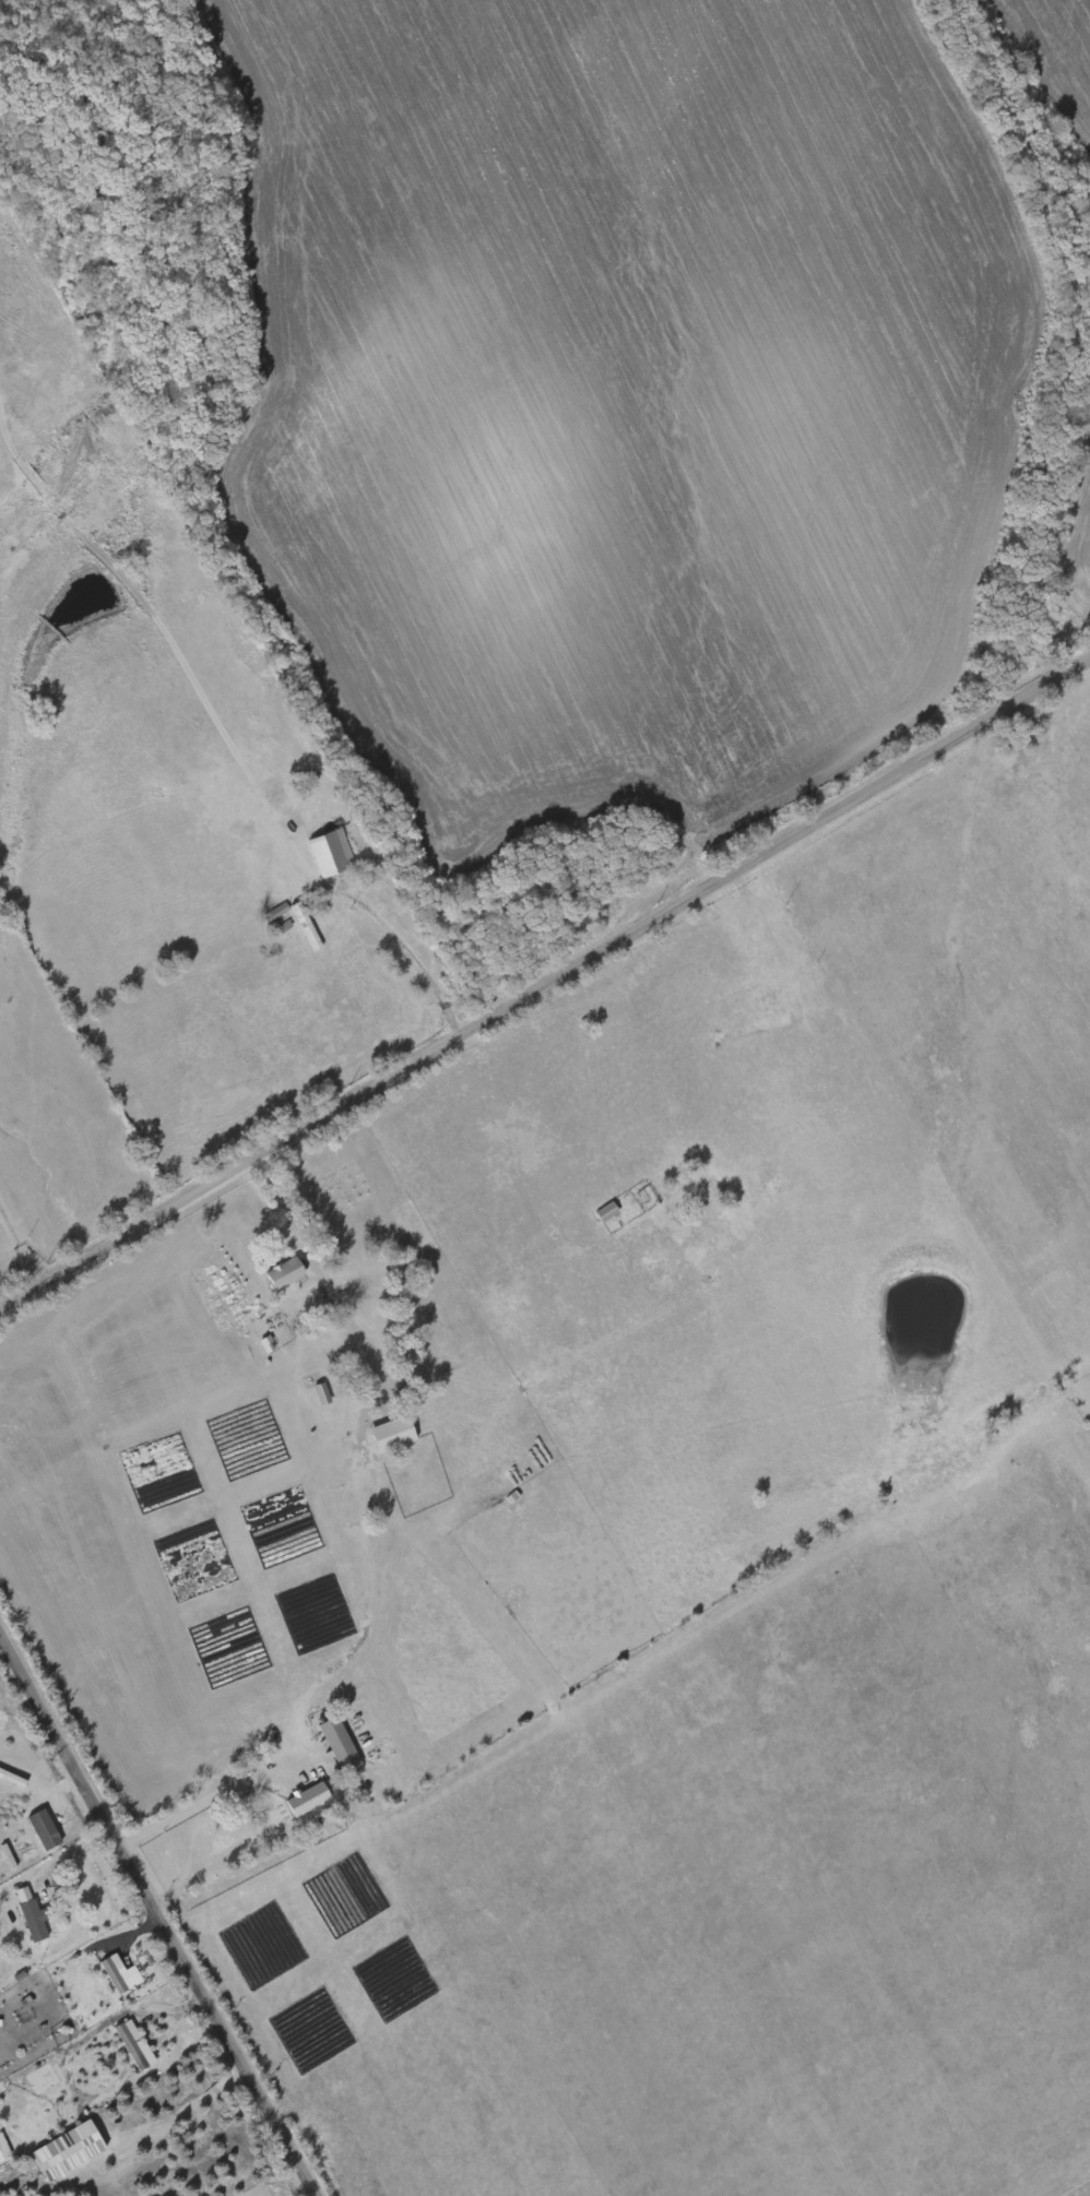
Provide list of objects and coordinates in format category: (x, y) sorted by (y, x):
building: (331, 852)
road: (405, 952)
building: (770, 980)
road: (545, 990)
building: (699, 1195)
building: (606, 1212)
road: (21, 1254)
road: (316, 1254)
building: (283, 1271)
building: (379, 1297)
building: (379, 1384)
building: (321, 1394)
building: (391, 1435)
building: (339, 1743)
building: (293, 1787)
road: (210, 1792)
building: (307, 1800)
building: (43, 1830)
road: (61, 1857)
road: (158, 1916)
building: (33, 1919)
road: (135, 1931)
building: (119, 1974)
road: (142, 2021)
building: (134, 2046)
road: (196, 2104)
building: (3, 2149)
building: (67, 2151)

